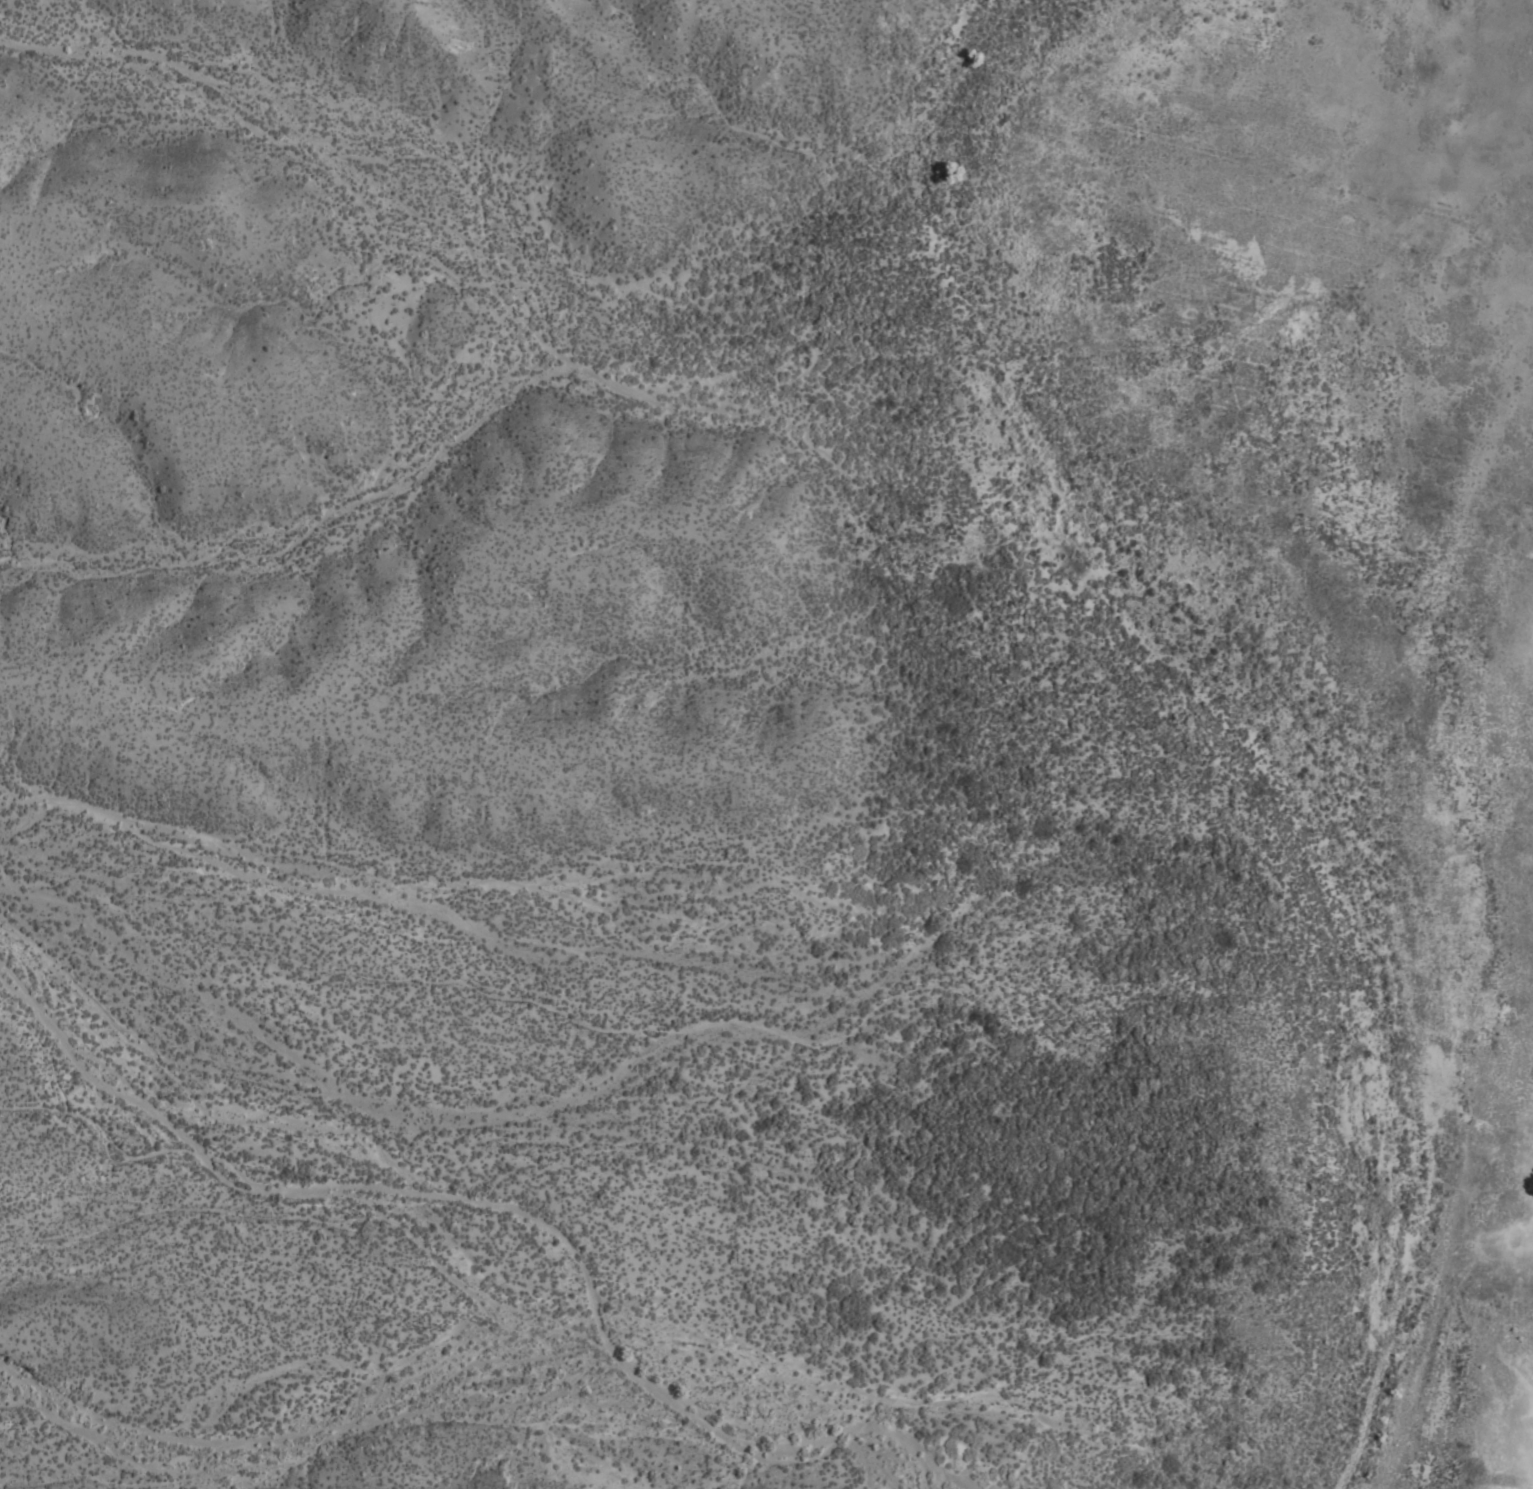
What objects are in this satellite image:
road: (1377, 1333)
road: (1358, 1433)

